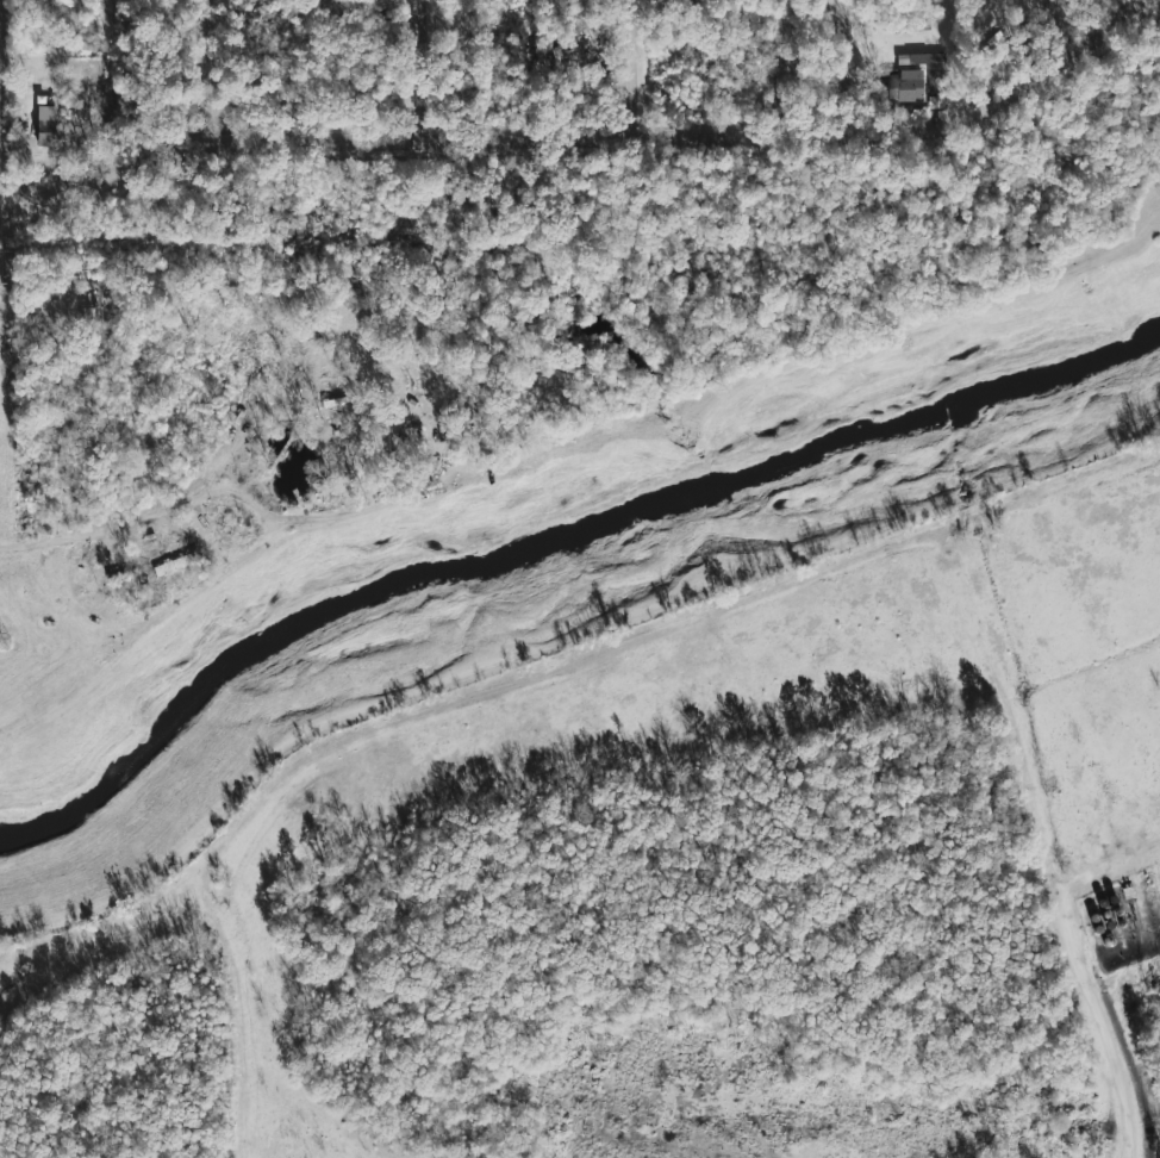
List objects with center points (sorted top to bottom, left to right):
road: (1050, 36)
road: (632, 68)
road: (840, 68)
road: (420, 71)
road: (212, 73)
building: (905, 87)
building: (46, 125)
road: (591, 137)
river: (550, 546)
road: (728, 608)

